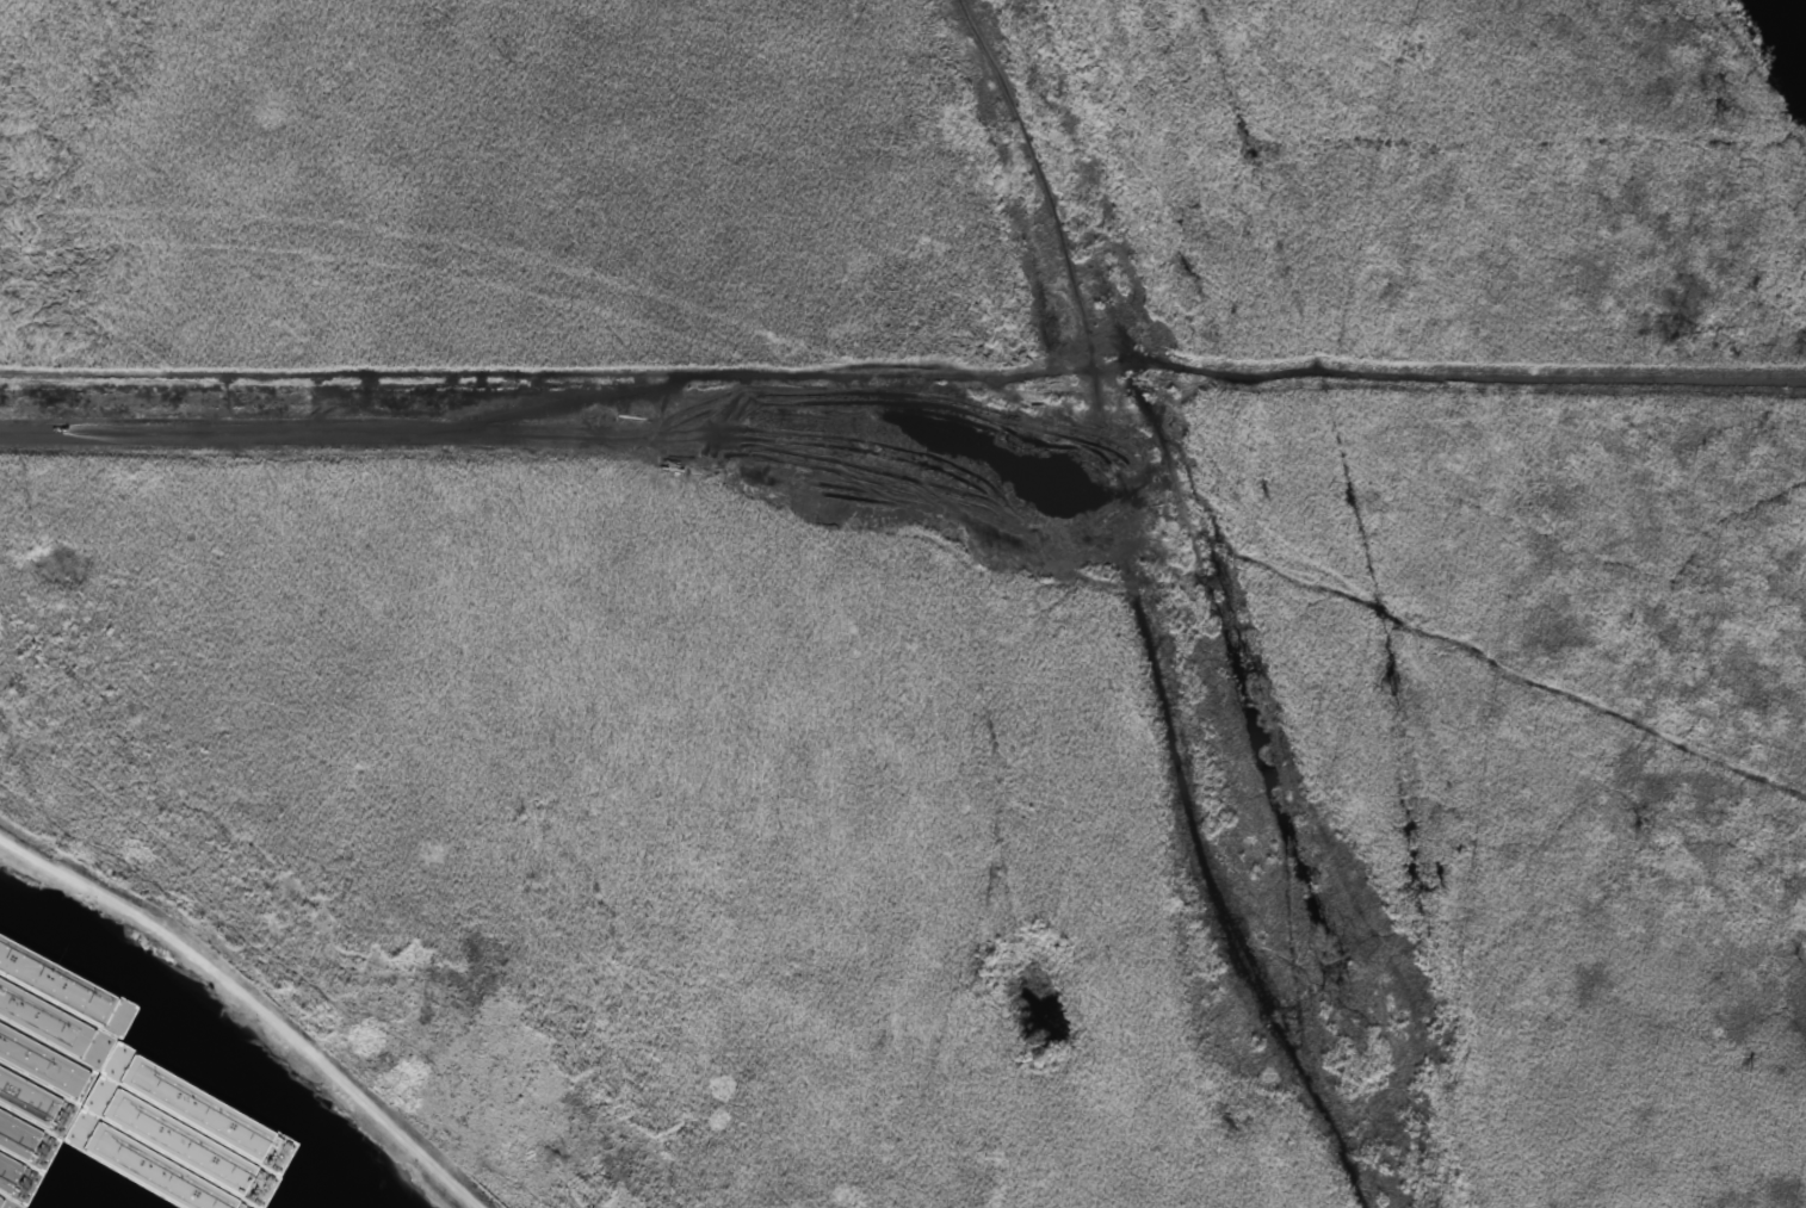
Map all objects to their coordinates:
road: (253, 1002)

